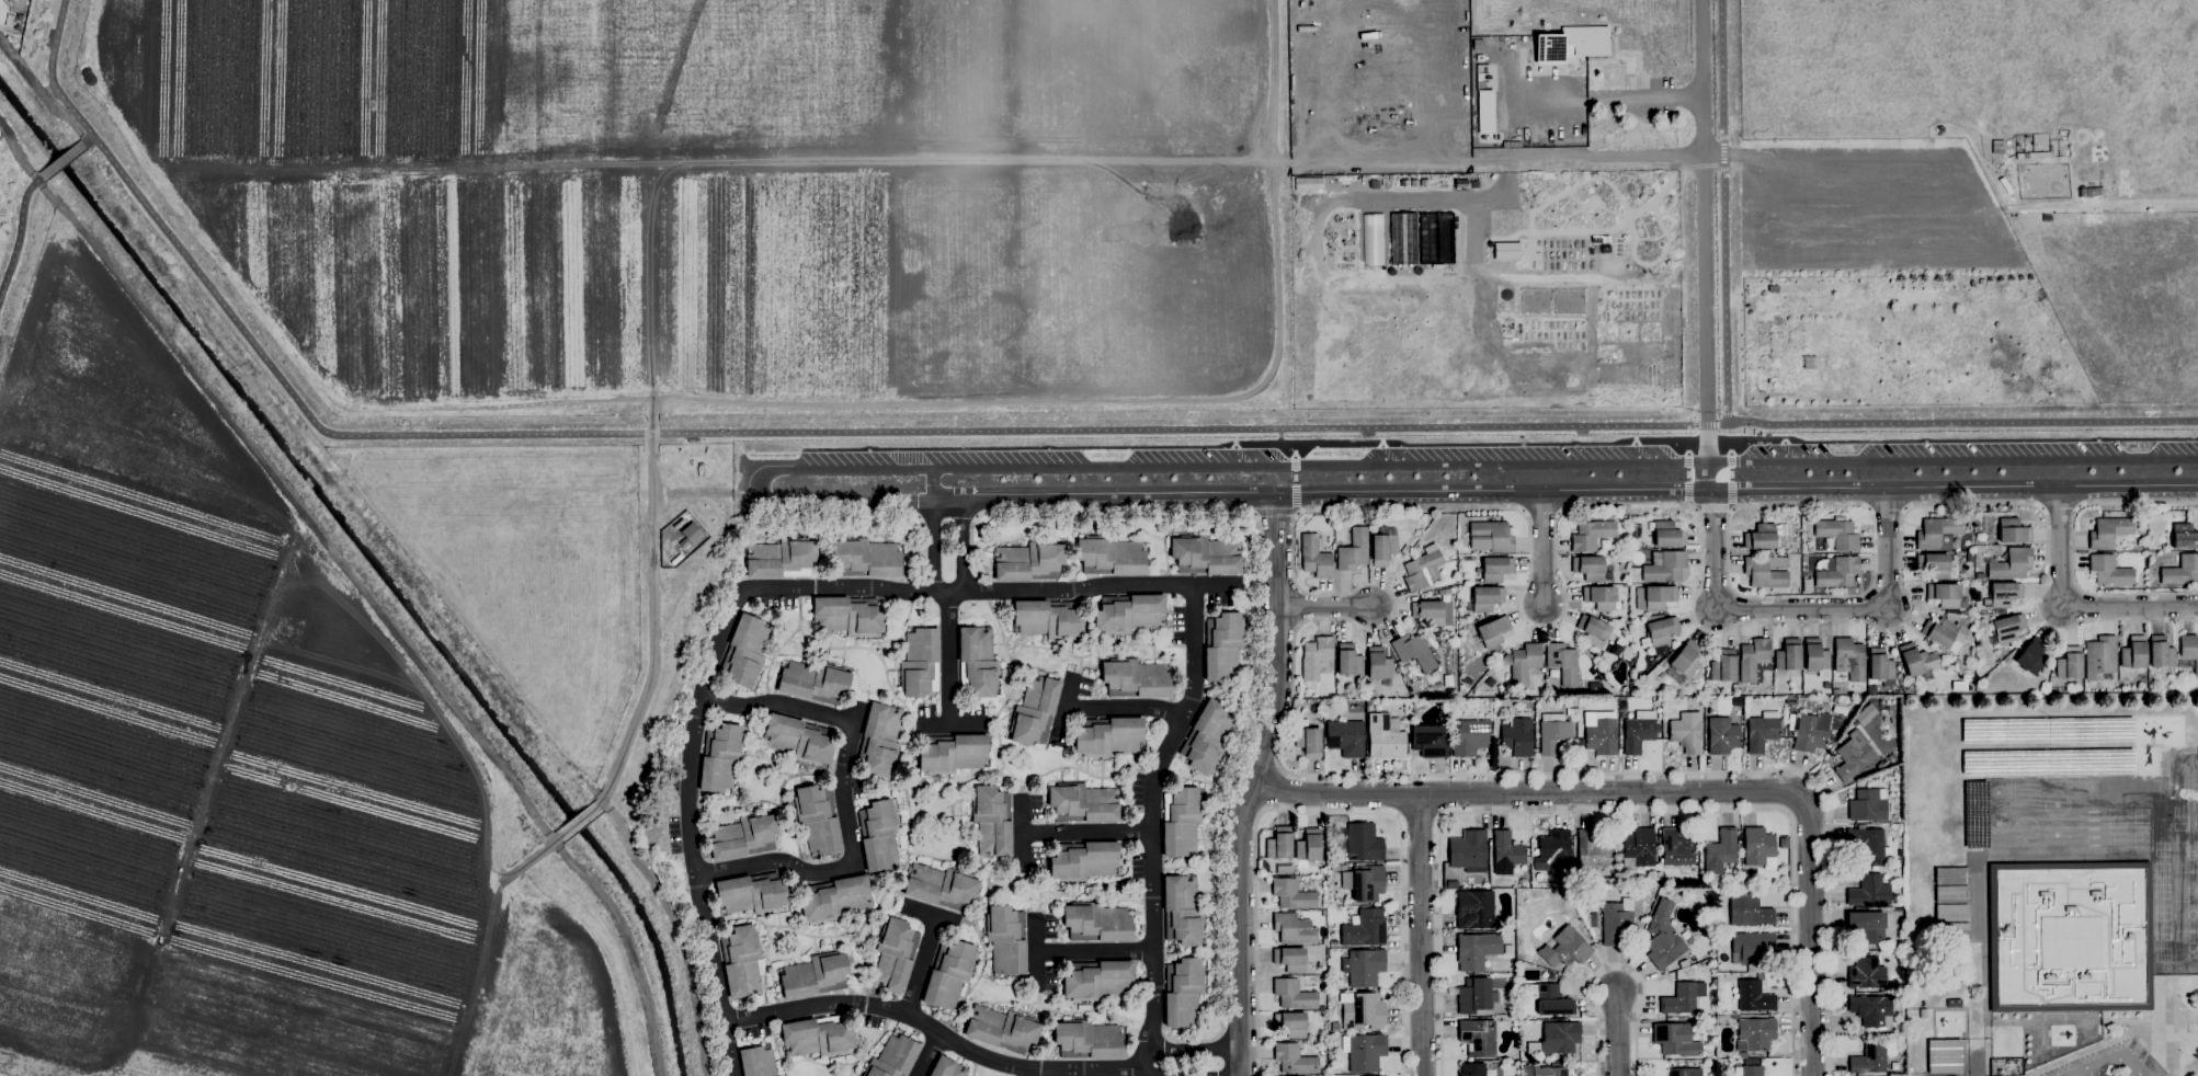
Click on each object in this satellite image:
building: (2, 0)
building: (1570, 43)
road: (1643, 95)
building: (1483, 111)
road: (89, 140)
road: (1528, 157)
road: (62, 161)
road: (1448, 195)
road: (1723, 211)
road: (1704, 230)
road: (1572, 232)
road: (20, 236)
building: (1402, 238)
park: (863, 386)
road: (996, 430)
road: (1278, 436)
road: (1500, 444)
road: (650, 445)
road: (1687, 447)
road: (1730, 447)
road: (1294, 450)
road: (1382, 463)
road: (1705, 477)
road: (931, 484)
road: (1294, 484)
road: (1564, 491)
road: (1397, 507)
road: (1710, 507)
road: (1731, 507)
road: (1695, 508)
road: (1888, 508)
road: (1275, 512)
road: (1254, 513)
road: (1296, 513)
road: (953, 515)
road: (977, 516)
building: (2013, 530)
building: (2108, 531)
building: (1670, 533)
building: (1837, 533)
building: (1937, 533)
building: (1593, 534)
building: (690, 535)
building: (1762, 535)
building: (2184, 536)
building: (1490, 537)
building: (2121, 543)
building: (1383, 546)
road: (2073, 547)
road: (961, 548)
road: (1541, 549)
road: (932, 550)
building: (1354, 550)
building: (1206, 554)
building: (1111, 556)
building: (1314, 557)
building: (1970, 557)
building: (865, 558)
building: (782, 559)
building: (1029, 561)
building: (2012, 564)
building: (1936, 565)
building: (1590, 568)
building: (1665, 568)
building: (1495, 569)
building: (1422, 570)
building: (2109, 570)
building: (1766, 571)
building: (1837, 571)
building: (2182, 571)
road: (1875, 575)
building: (1979, 575)
road: (968, 592)
building: (1944, 594)
building: (2004, 594)
building: (1601, 597)
building: (1654, 597)
building: (1485, 598)
road: (651, 602)
road: (1326, 607)
road: (2070, 608)
road: (1802, 611)
building: (1129, 613)
building: (1433, 613)
building: (847, 615)
building: (1048, 619)
building: (2007, 628)
building: (1593, 630)
building: (1661, 630)
building: (1492, 631)
building: (1944, 633)
road: (1279, 640)
building: (1434, 643)
building: (1223, 645)
building: (1615, 649)
building: (2189, 650)
building: (745, 651)
building: (1413, 651)
building: (2161, 652)
building: (2133, 653)
road: (1254, 655)
building: (1316, 656)
building: (2031, 656)
building: (2100, 656)
building: (1787, 657)
building: (1817, 657)
road: (948, 659)
building: (1686, 659)
building: (1849, 659)
building: (1348, 660)
building: (1754, 660)
building: (1917, 660)
building: (921, 662)
building: (978, 662)
building: (1563, 662)
building: (1378, 663)
building: (1522, 663)
building: (2069, 663)
building: (2186, 664)
building: (1880, 665)
building: (1723, 666)
building: (2046, 669)
building: (1134, 678)
building: (815, 682)
building: (1871, 689)
building: (1522, 692)
building: (1370, 702)
building: (1446, 703)
building: (1792, 703)
building: (1525, 705)
building: (1416, 707)
road: (1127, 709)
building: (1035, 710)
road: (1067, 710)
building: (1448, 714)
building: (1791, 718)
road: (950, 725)
building: (1639, 731)
building: (1762, 731)
building: (1813, 731)
building: (1552, 732)
building: (1686, 732)
building: (1722, 735)
building: (1108, 736)
building: (1207, 736)
building: (1386, 736)
building: (1470, 736)
building: (1516, 736)
building: (1602, 736)
building: (1345, 737)
building: (799, 739)
building: (880, 740)
building: (1309, 741)
building: (1428, 741)
building: (953, 753)
building: (1853, 756)
building: (720, 757)
building: (1882, 764)
road: (1666, 790)
road: (843, 797)
building: (1083, 803)
building: (1868, 804)
road: (1616, 811)
road: (1325, 813)
building: (818, 819)
building: (992, 820)
road: (1153, 820)
road: (577, 821)
building: (1181, 821)
building: (1899, 825)
road: (691, 831)
road: (1087, 832)
road: (1023, 833)
building: (879, 834)
building: (743, 836)
building: (1364, 843)
building: (1868, 843)
building: (1279, 844)
building: (1556, 847)
building: (1677, 847)
building: (1758, 847)
building: (1308, 848)
building: (1637, 848)
building: (1592, 850)
building: (1469, 851)
building: (1720, 851)
building: (1506, 852)
building: (1528, 859)
road: (528, 860)
building: (1083, 860)
building: (1878, 863)
building: (1344, 867)
building: (1951, 875)
building: (1524, 882)
building: (1364, 883)
building: (942, 886)
building: (1752, 889)
building: (1869, 891)
building: (1720, 892)
building: (752, 893)
building: (1291, 894)
building: (1951, 894)
building: (835, 898)
building: (1474, 909)
building: (1182, 911)
building: (1749, 911)
building: (1951, 912)
road: (930, 915)
building: (1097, 923)
building: (1618, 923)
building: (1871, 926)
building: (1294, 928)
building: (1365, 928)
road: (1244, 929)
building: (1585, 930)
building: (1952, 931)
road: (1421, 935)
building: (1663, 937)
building: (2070, 937)
building: (1006, 939)
building: (1690, 939)
building: (1333, 943)
building: (1752, 946)
building: (1564, 948)
building: (1477, 949)
road: (1095, 951)
road: (1036, 952)
building: (895, 954)
building: (1290, 959)
building: (742, 961)
road: (1616, 964)
building: (1684, 964)
road: (922, 965)
building: (1364, 968)
building: (1752, 969)
building: (1866, 973)
building: (949, 974)
building: (815, 975)
building: (1551, 976)
building: (1098, 980)
building: (1183, 992)
building: (1294, 995)
building: (1474, 995)
building: (1754, 996)
building: (1682, 998)
building: (1549, 999)
building: (1363, 1010)
building: (1869, 1010)
building: (1291, 1023)
building: (1335, 1027)
building: (1002, 1029)
road: (936, 1031)
road: (1616, 1033)
building: (1755, 1033)
road: (1221, 1034)
building: (818, 1037)
building: (1478, 1037)
building: (1557, 1038)
building: (1676, 1039)
building: (1087, 1040)
road: (1194, 1050)
building: (1365, 1051)
road: (927, 1054)
building: (1741, 1054)
road: (1222, 1055)
building: (1945, 1055)
building: (1872, 1056)
building: (893, 1057)
building: (1295, 1058)
road: (2109, 1060)
building: (758, 1062)
building: (1751, 1067)
building: (2005, 1067)
building: (947, 1068)
road: (1235, 1068)
building: (1472, 1069)
building: (1551, 1069)
road: (1148, 1071)
road: (1153, 1071)
building: (1336, 1071)
building: (1685, 1072)
road: (1030, 1073)
building: (781, 1075)

